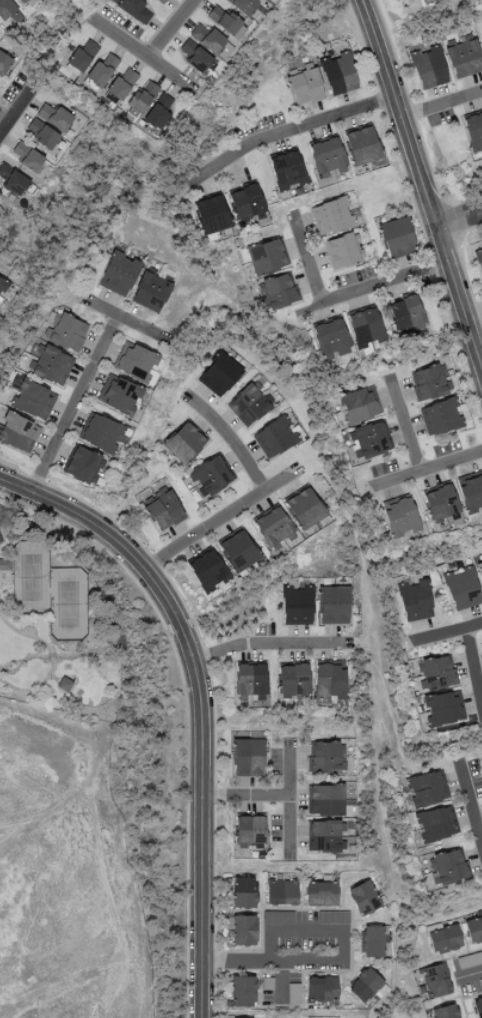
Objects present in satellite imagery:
building: (267, 0)
building: (160, 1)
building: (25, 2)
building: (243, 6)
building: (134, 10)
building: (7, 11)
building: (225, 22)
road: (174, 29)
building: (211, 41)
building: (82, 56)
road: (149, 56)
building: (195, 57)
building: (464, 57)
building: (3, 63)
building: (428, 67)
building: (101, 70)
building: (338, 74)
building: (122, 83)
building: (304, 87)
building: (142, 98)
road: (440, 104)
road: (18, 107)
building: (159, 111)
building: (54, 117)
road: (4, 120)
building: (473, 131)
road: (284, 132)
building: (42, 134)
building: (361, 146)
building: (26, 157)
building: (326, 157)
building: (285, 170)
building: (12, 181)
road: (421, 186)
building: (245, 203)
building: (210, 215)
building: (332, 216)
road: (459, 222)
building: (396, 238)
building: (344, 251)
building: (266, 257)
road: (306, 259)
building: (479, 260)
building: (118, 274)
building: (2, 286)
road: (370, 288)
building: (150, 290)
building: (277, 292)
building: (405, 314)
road: (473, 315)
road: (127, 321)
building: (364, 328)
building: (66, 333)
building: (329, 339)
building: (137, 364)
building: (50, 365)
building: (219, 375)
building: (431, 382)
building: (118, 395)
building: (33, 400)
building: (249, 404)
road: (74, 405)
building: (359, 405)
building: (440, 417)
road: (405, 425)
building: (17, 433)
building: (102, 433)
building: (275, 437)
building: (370, 439)
building: (184, 442)
road: (230, 442)
building: (82, 464)
road: (425, 470)
building: (212, 473)
building: (470, 491)
building: (440, 502)
building: (304, 507)
building: (163, 509)
building: (400, 516)
road: (220, 518)
building: (273, 527)
building: (238, 550)
building: (5, 563)
building: (206, 569)
building: (480, 569)
building: (461, 588)
building: (414, 600)
building: (332, 604)
building: (296, 605)
road: (444, 632)
road: (271, 643)
road: (56, 660)
road: (473, 669)
building: (437, 671)
building: (292, 679)
building: (328, 679)
building: (249, 680)
building: (64, 683)
road: (200, 701)
building: (442, 707)
road: (184, 712)
building: (247, 756)
building: (327, 757)
building: (426, 788)
road: (244, 796)
building: (325, 798)
road: (289, 804)
road: (469, 805)
road: (478, 818)
building: (436, 823)
building: (249, 831)
building: (325, 835)
building: (450, 866)
building: (243, 891)
building: (281, 892)
building: (321, 893)
building: (362, 897)
building: (277, 916)
building: (332, 916)
building: (473, 929)
building: (243, 930)
road: (305, 931)
building: (443, 938)
building: (371, 941)
building: (469, 958)
road: (270, 961)
road: (468, 975)
building: (435, 979)
road: (278, 982)
building: (266, 983)
building: (364, 985)
building: (321, 988)
building: (242, 991)
building: (293, 993)
building: (477, 1007)
building: (445, 1011)

